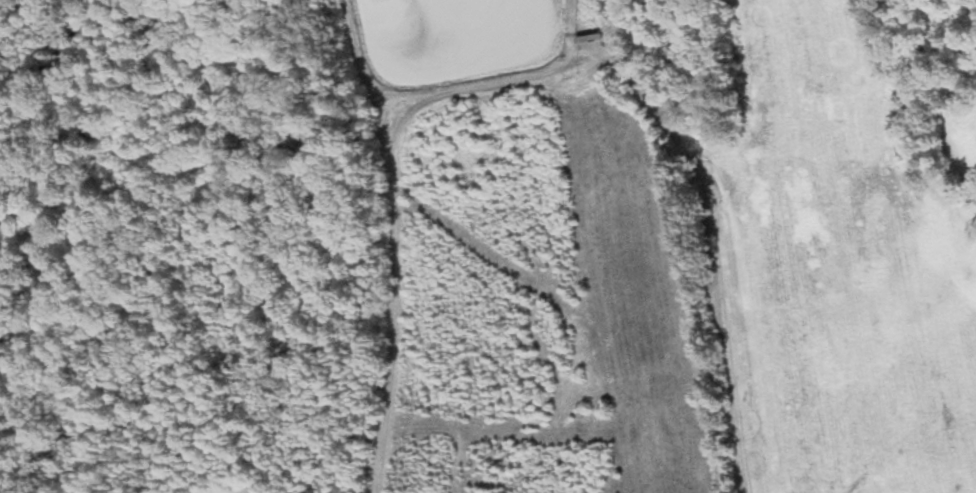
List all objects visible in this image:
road: (611, 24)
building: (592, 40)
road: (395, 192)

